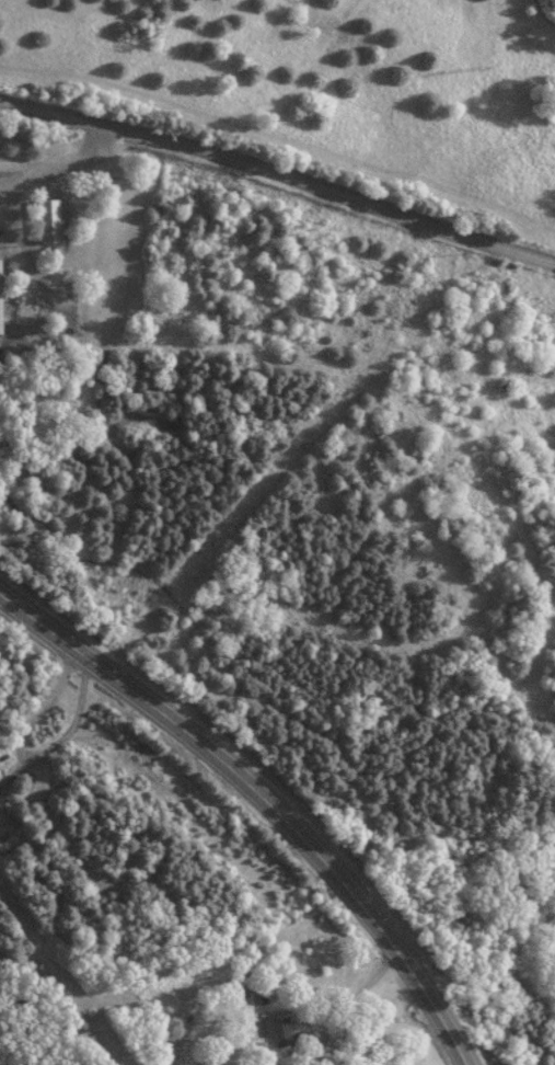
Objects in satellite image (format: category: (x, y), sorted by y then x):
power tower: (464, 71)
road: (63, 159)
road: (279, 175)
building: (505, 382)
road: (264, 795)
building: (277, 1030)

